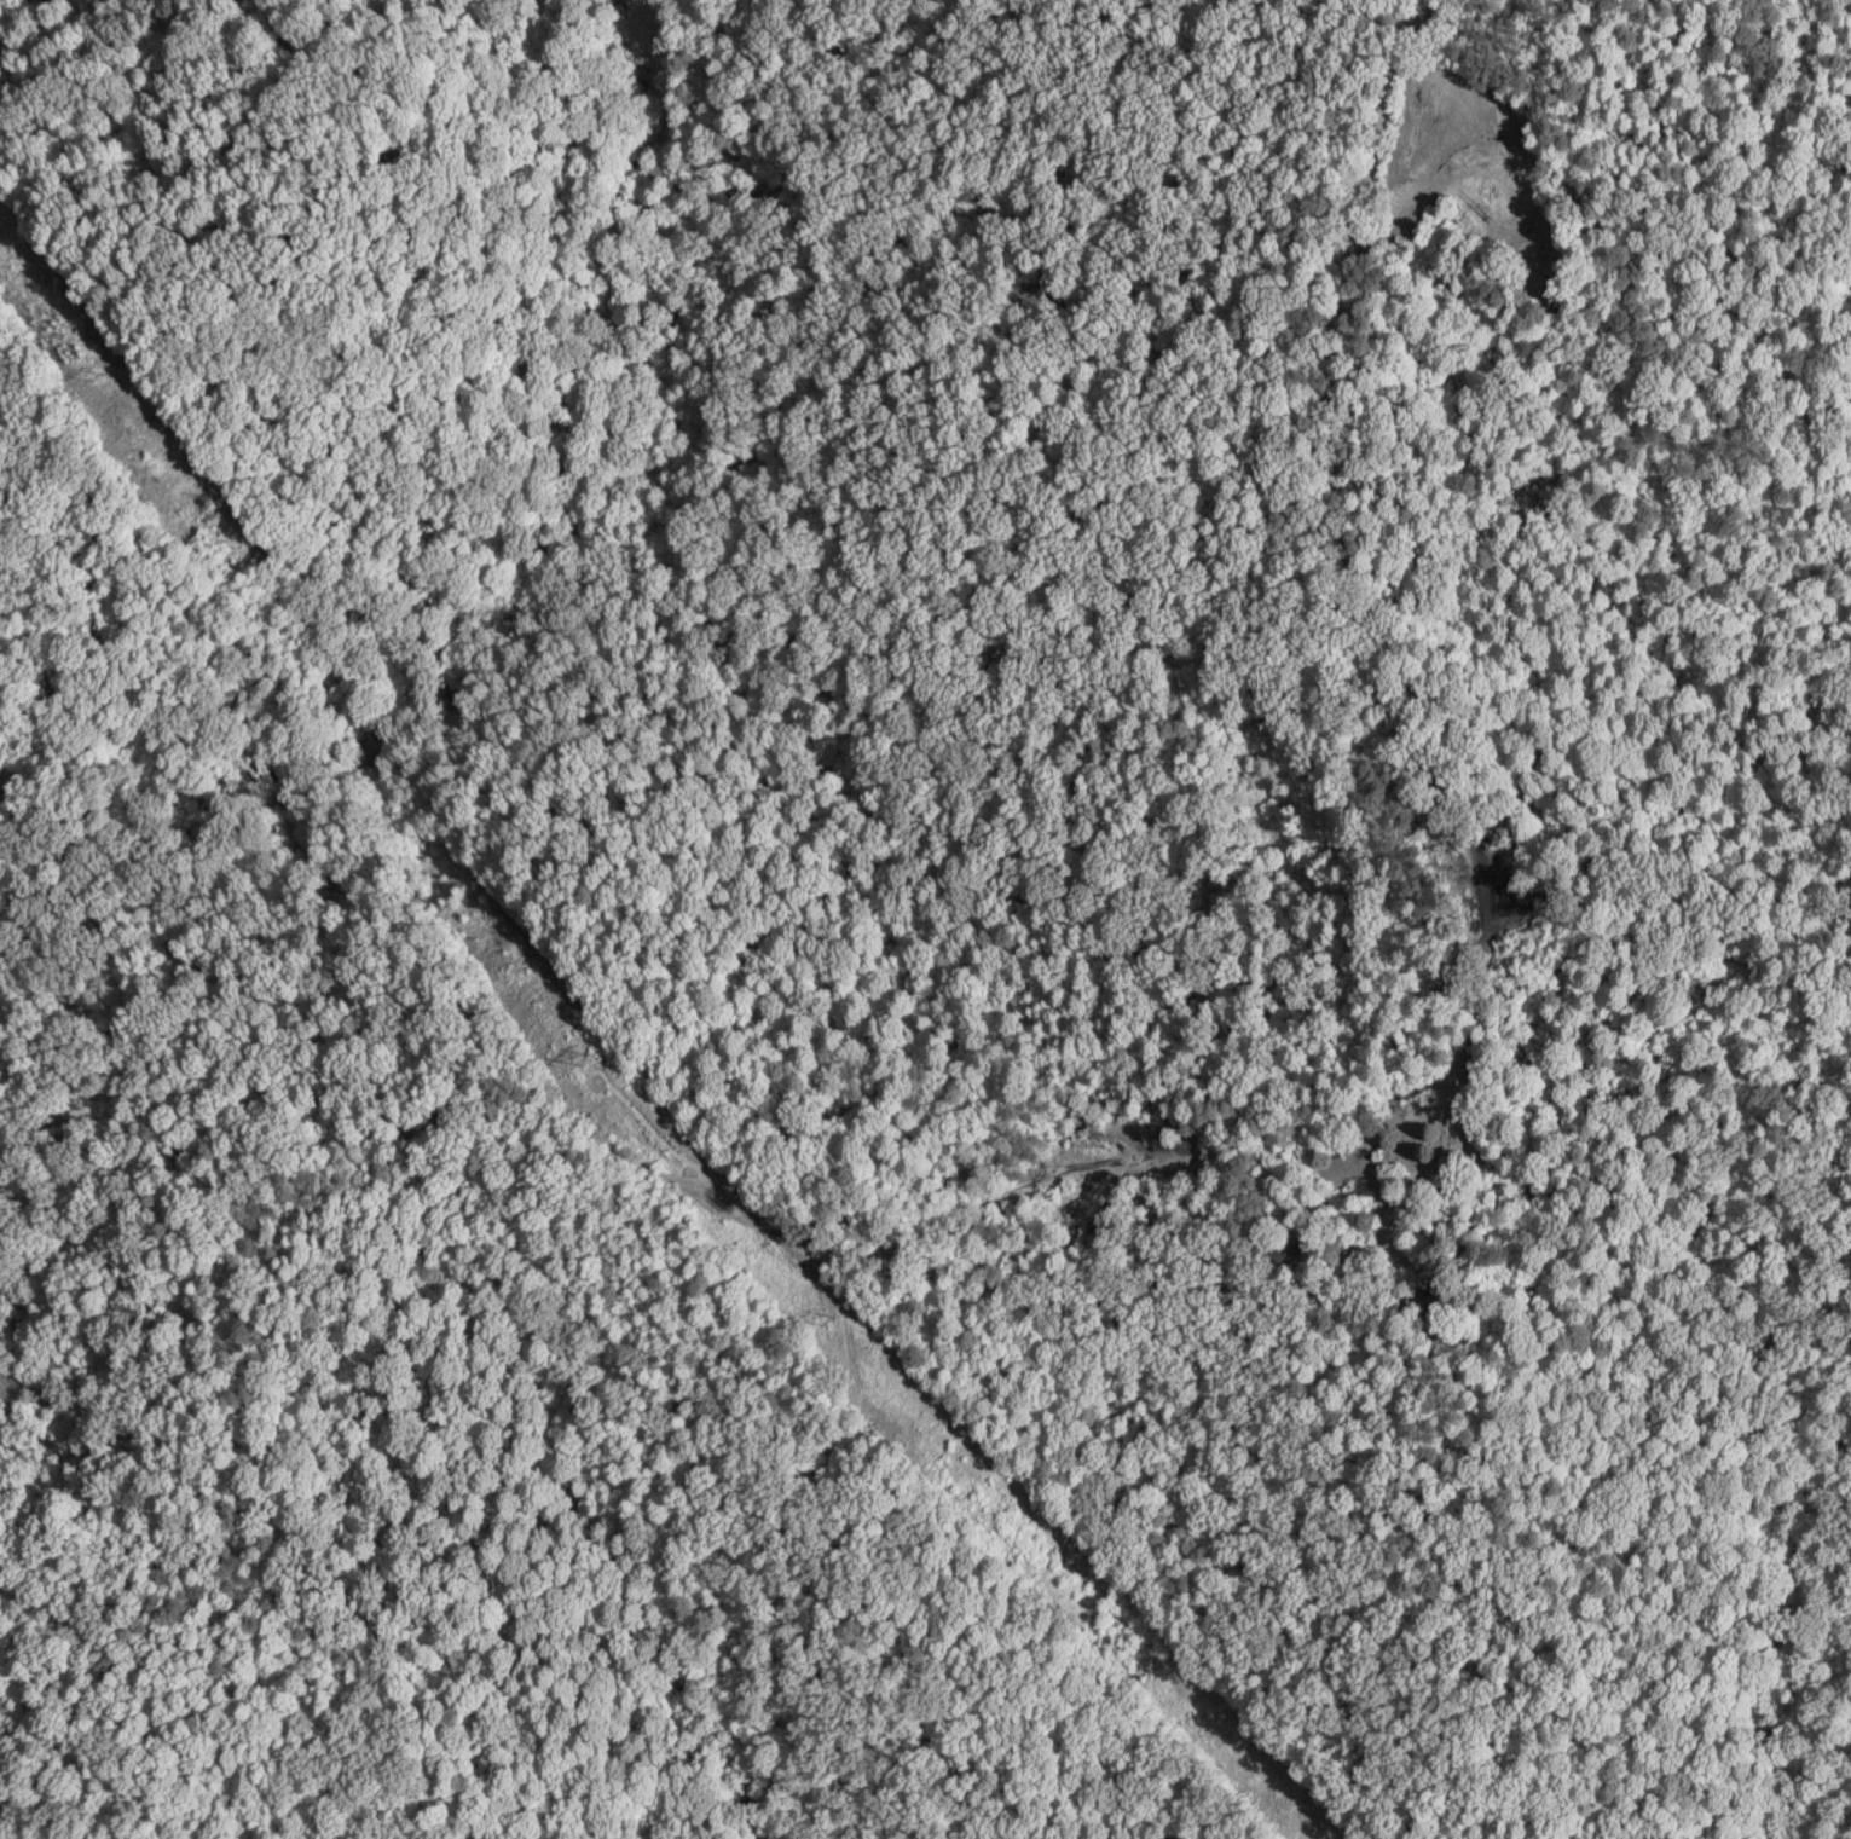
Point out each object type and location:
road: (187, 310)
road: (551, 365)
road: (758, 902)
road: (166, 1046)
road: (1158, 1153)

